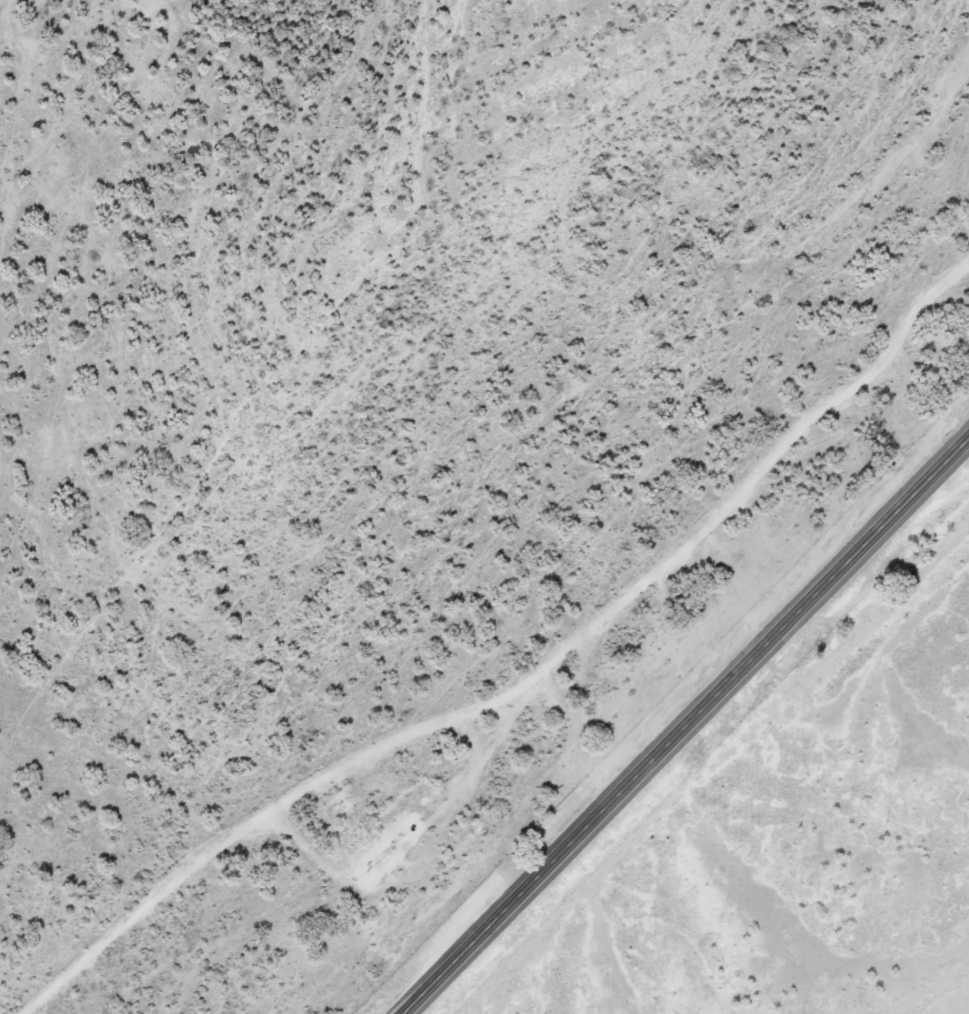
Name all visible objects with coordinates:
road: (684, 724)

